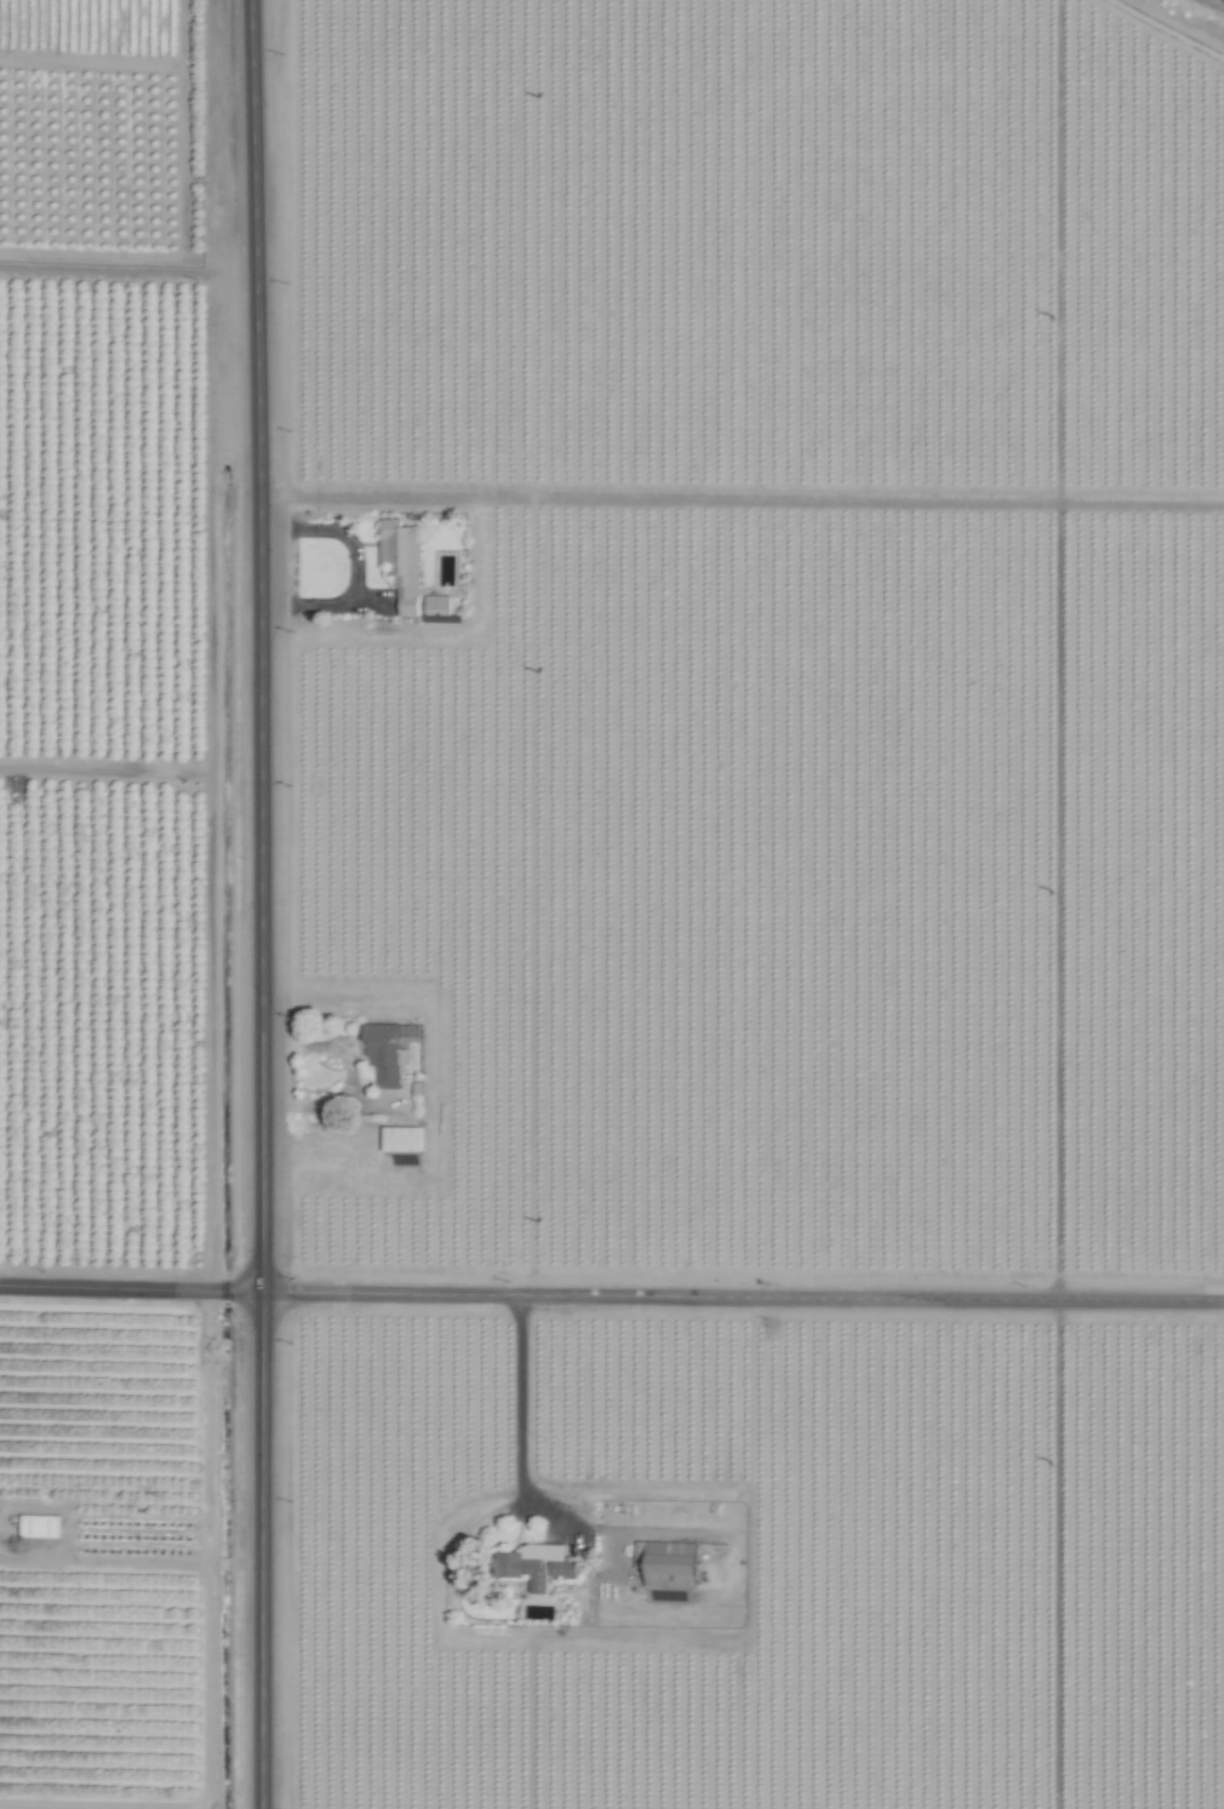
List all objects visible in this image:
road: (258, 516)
road: (339, 532)
building: (404, 562)
building: (440, 605)
road: (326, 606)
crop: (611, 905)
building: (387, 1052)
building: (404, 1138)
road: (262, 1162)
road: (131, 1287)
road: (390, 1292)
road: (871, 1298)
road: (522, 1403)
road: (262, 1513)
building: (40, 1525)
building: (670, 1563)
building: (537, 1564)
road: (262, 1773)

